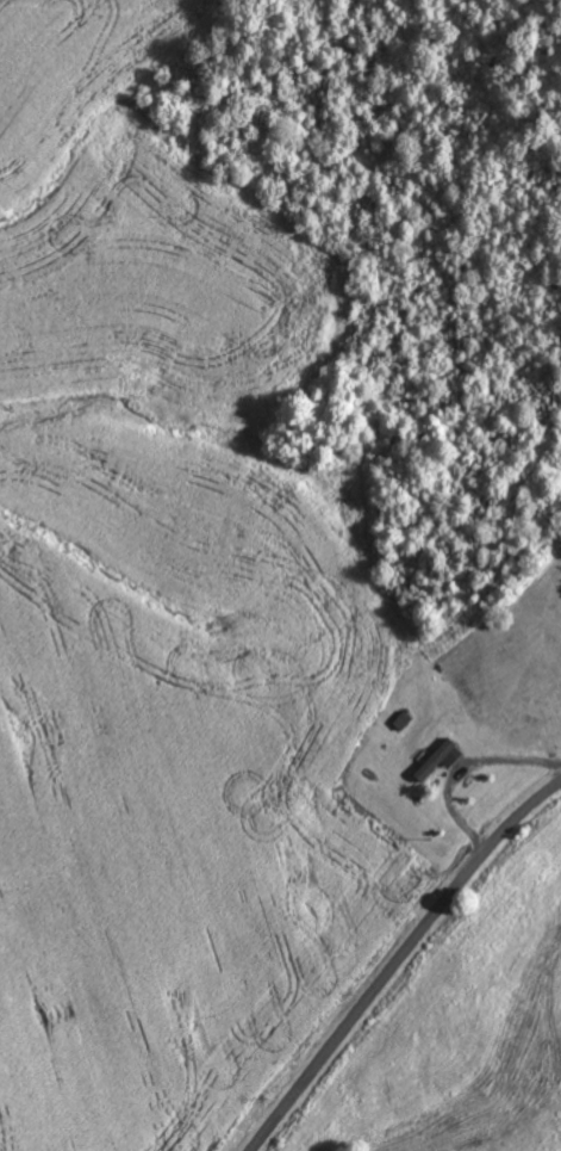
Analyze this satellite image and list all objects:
road: (397, 960)

